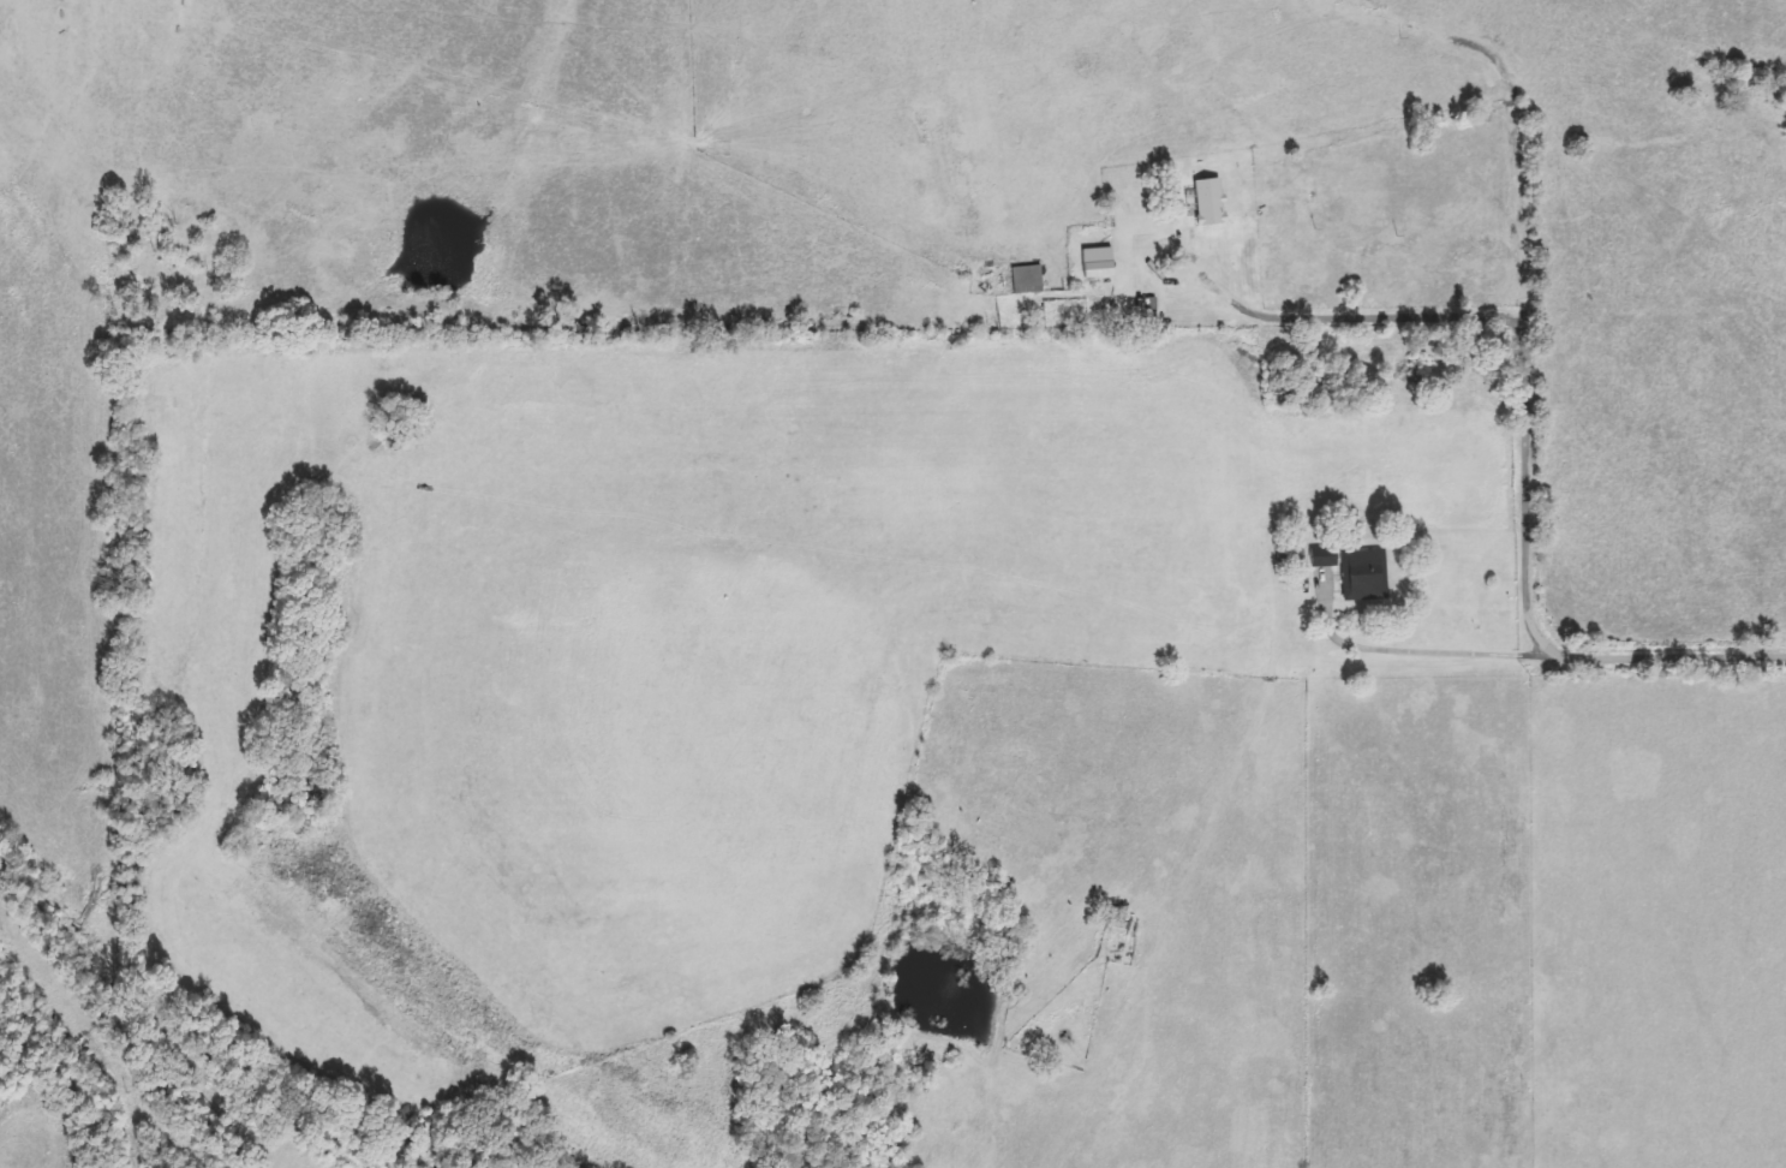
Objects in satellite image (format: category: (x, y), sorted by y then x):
building: (1211, 202)
building: (1100, 275)
building: (1028, 279)
road: (1527, 512)
building: (1326, 556)
building: (1366, 574)
road: (1465, 654)
road: (1673, 657)

